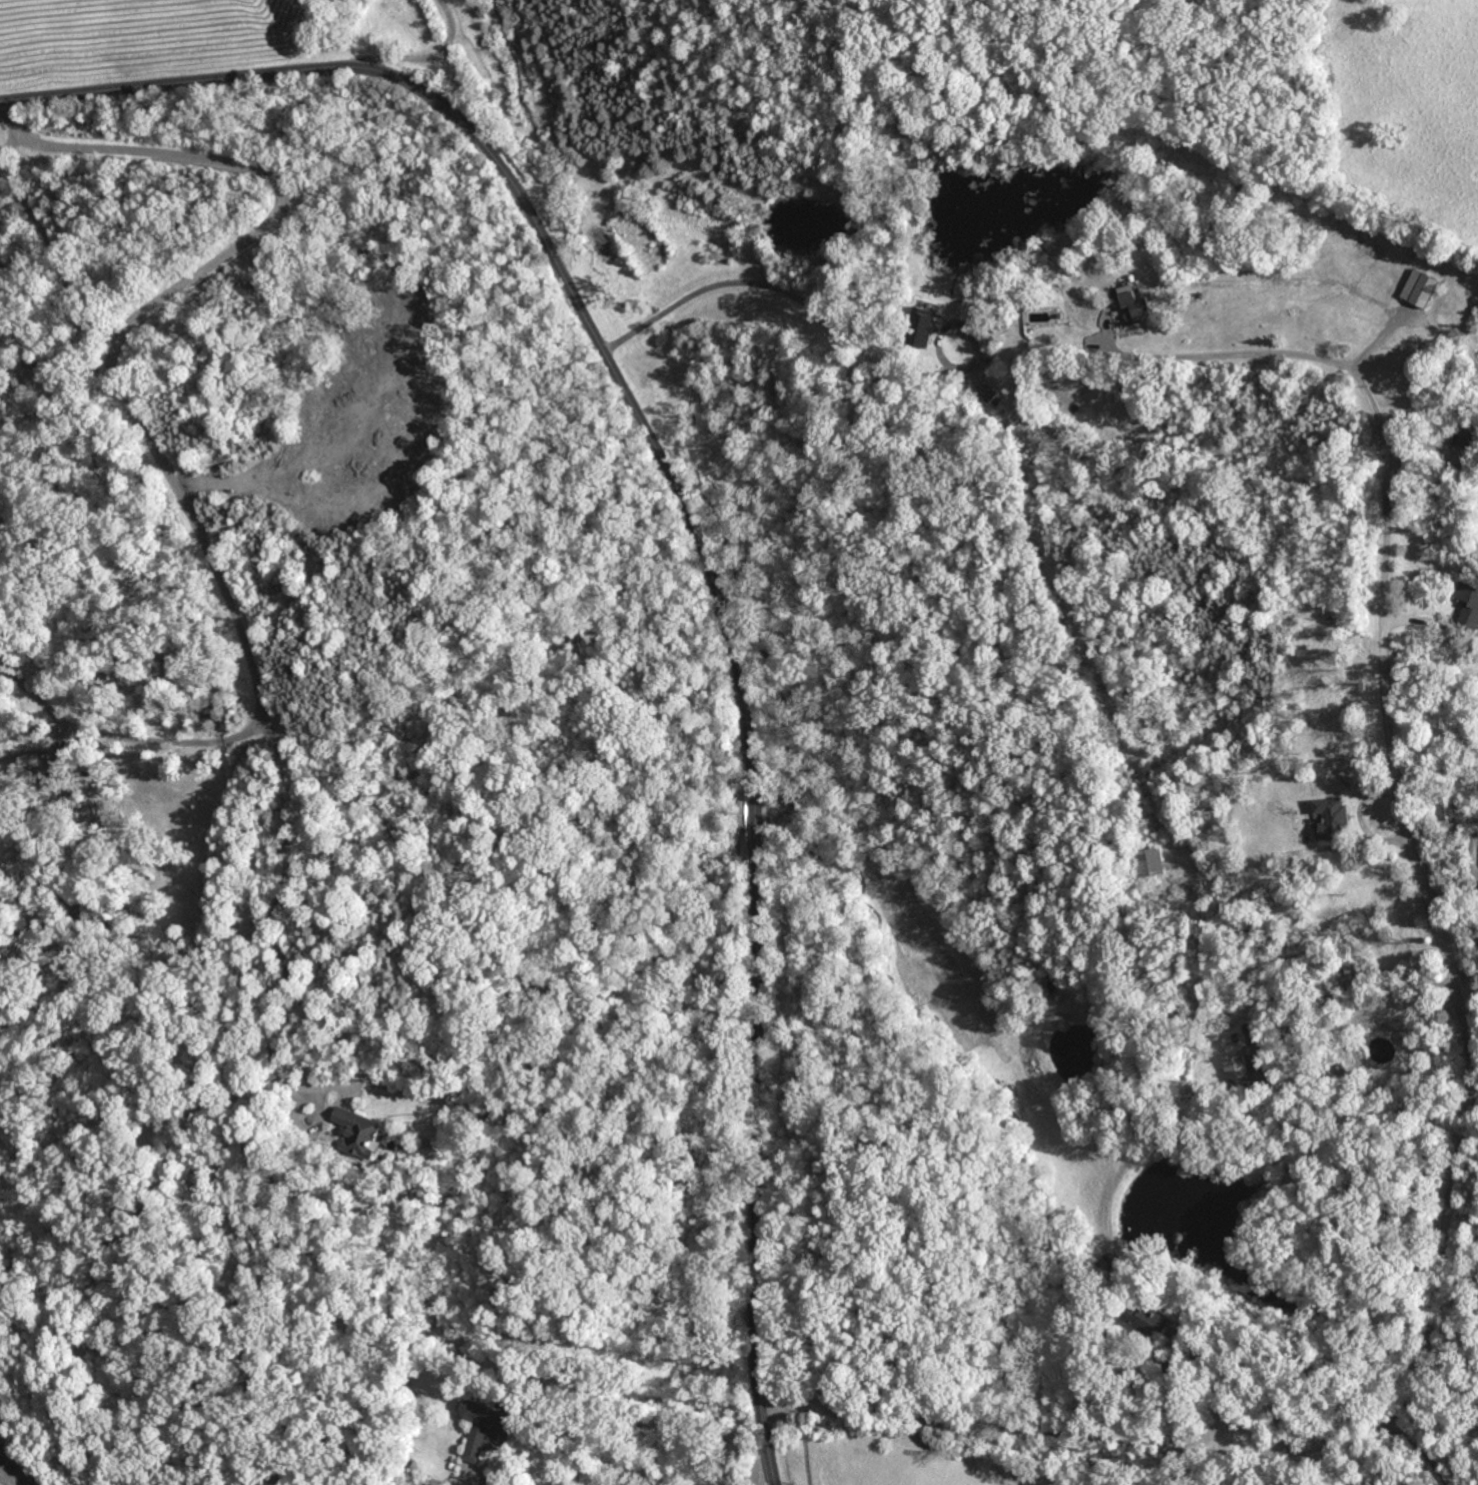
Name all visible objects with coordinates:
road: (422, 59)
road: (8, 141)
building: (1163, 280)
building: (1419, 289)
building: (1196, 296)
road: (161, 297)
road: (808, 305)
road: (655, 306)
building: (1135, 308)
building: (1058, 316)
road: (623, 327)
building: (921, 328)
building: (986, 394)
building: (1012, 419)
building: (1469, 441)
road: (697, 535)
building: (1468, 605)
road: (125, 737)
building: (1440, 808)
building: (1331, 819)
building: (1148, 863)
road: (275, 912)
building: (1475, 950)
building: (1404, 1034)
building: (1267, 1036)
building: (1309, 1036)
building: (1376, 1043)
building: (1236, 1044)
building: (1383, 1053)
building: (1335, 1076)
building: (1354, 1079)
building: (1249, 1081)
road: (1470, 1087)
building: (357, 1132)
building: (1177, 1238)
building: (1148, 1320)
road: (1261, 1393)
building: (489, 1427)
road: (1421, 1445)
road: (752, 1461)
building: (429, 1484)

